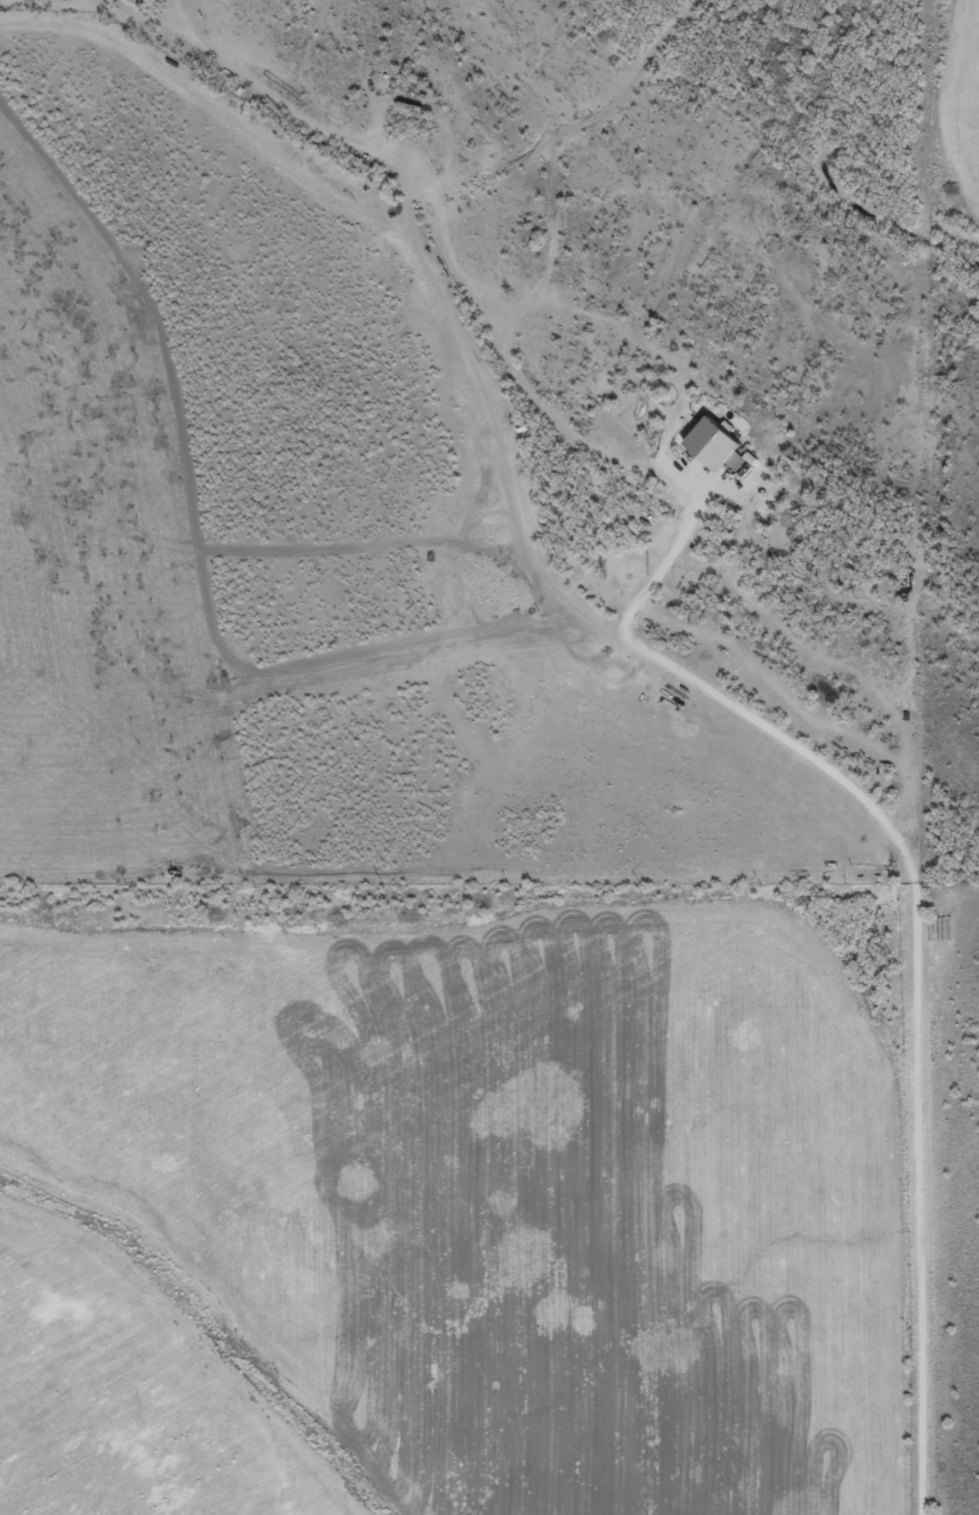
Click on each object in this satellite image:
building: (714, 444)
road: (915, 918)

